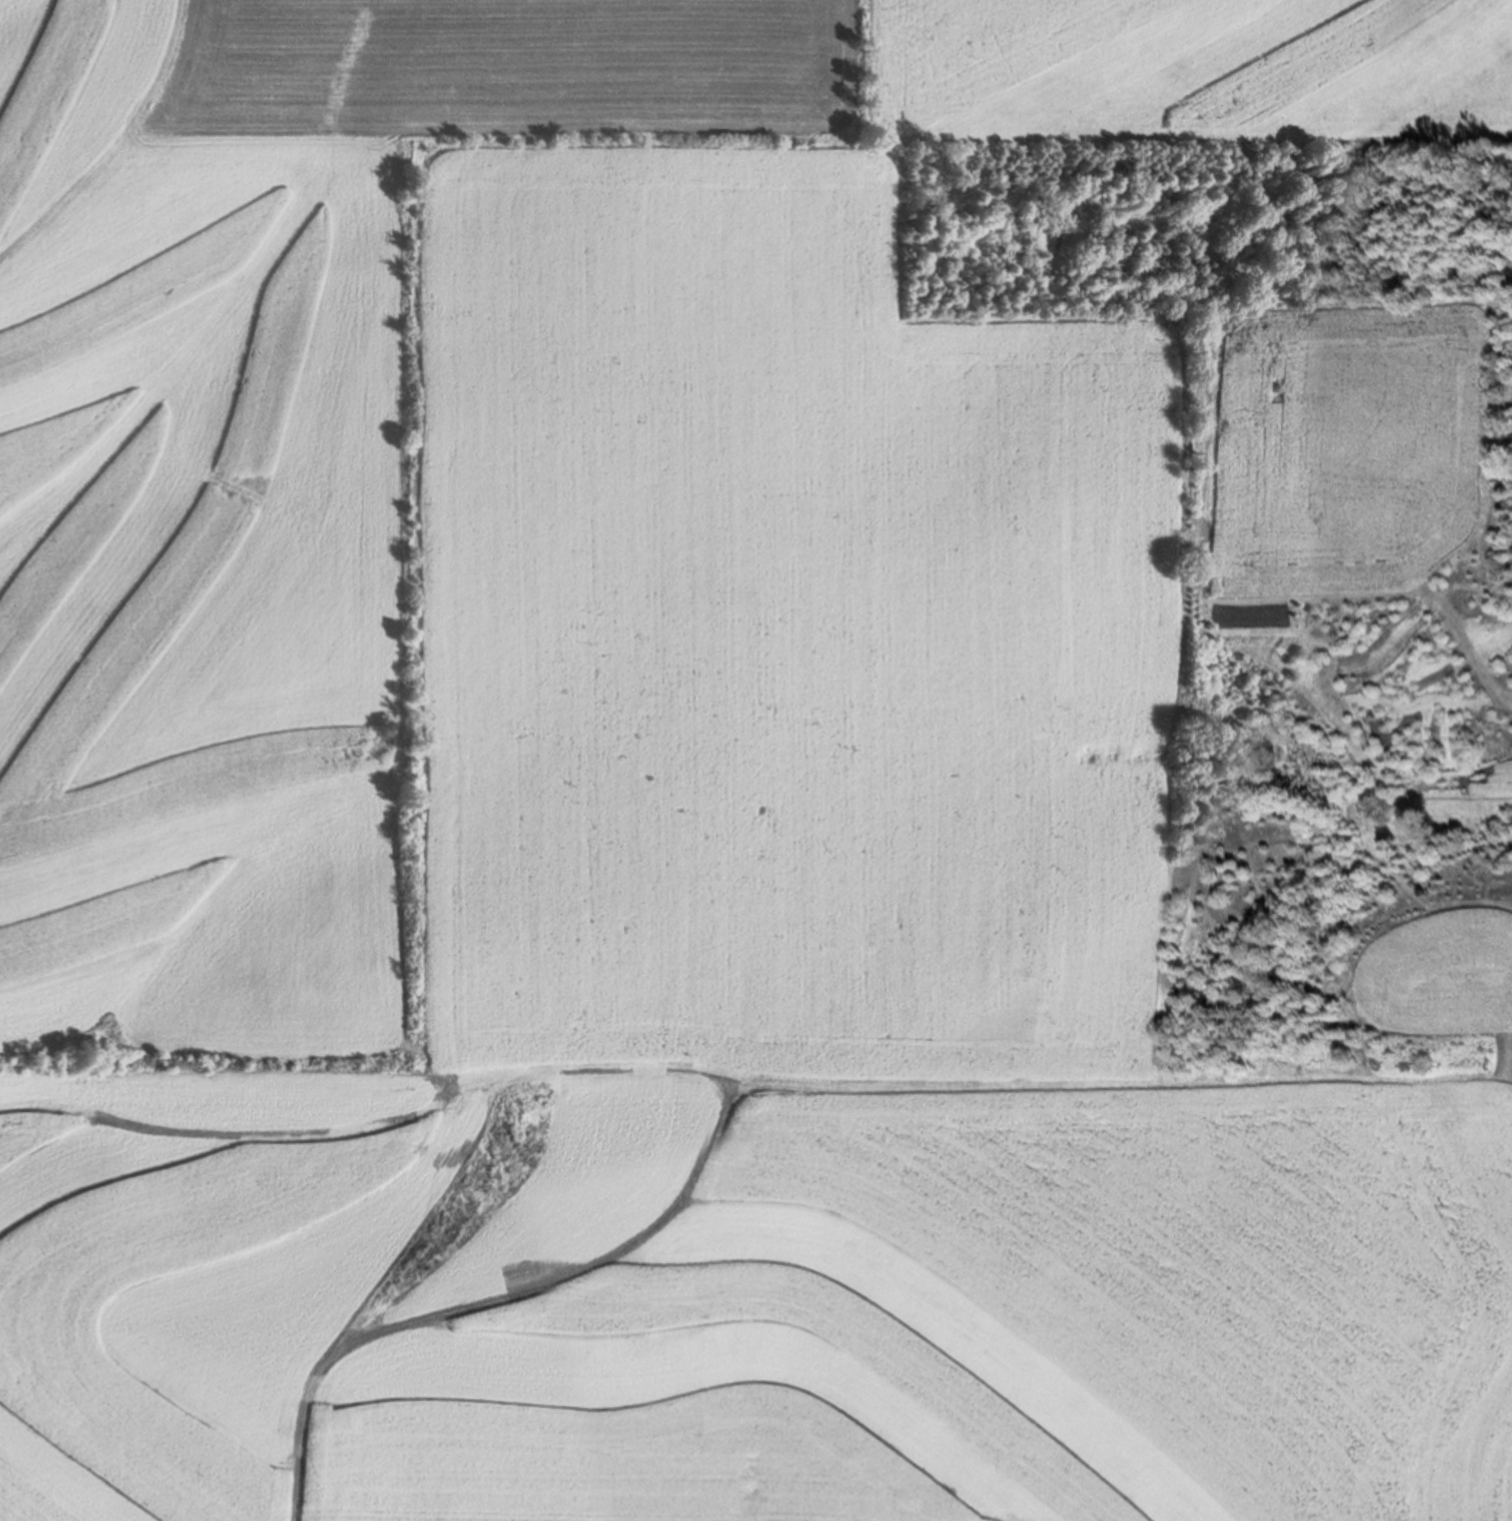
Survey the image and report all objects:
road: (357, 1327)

